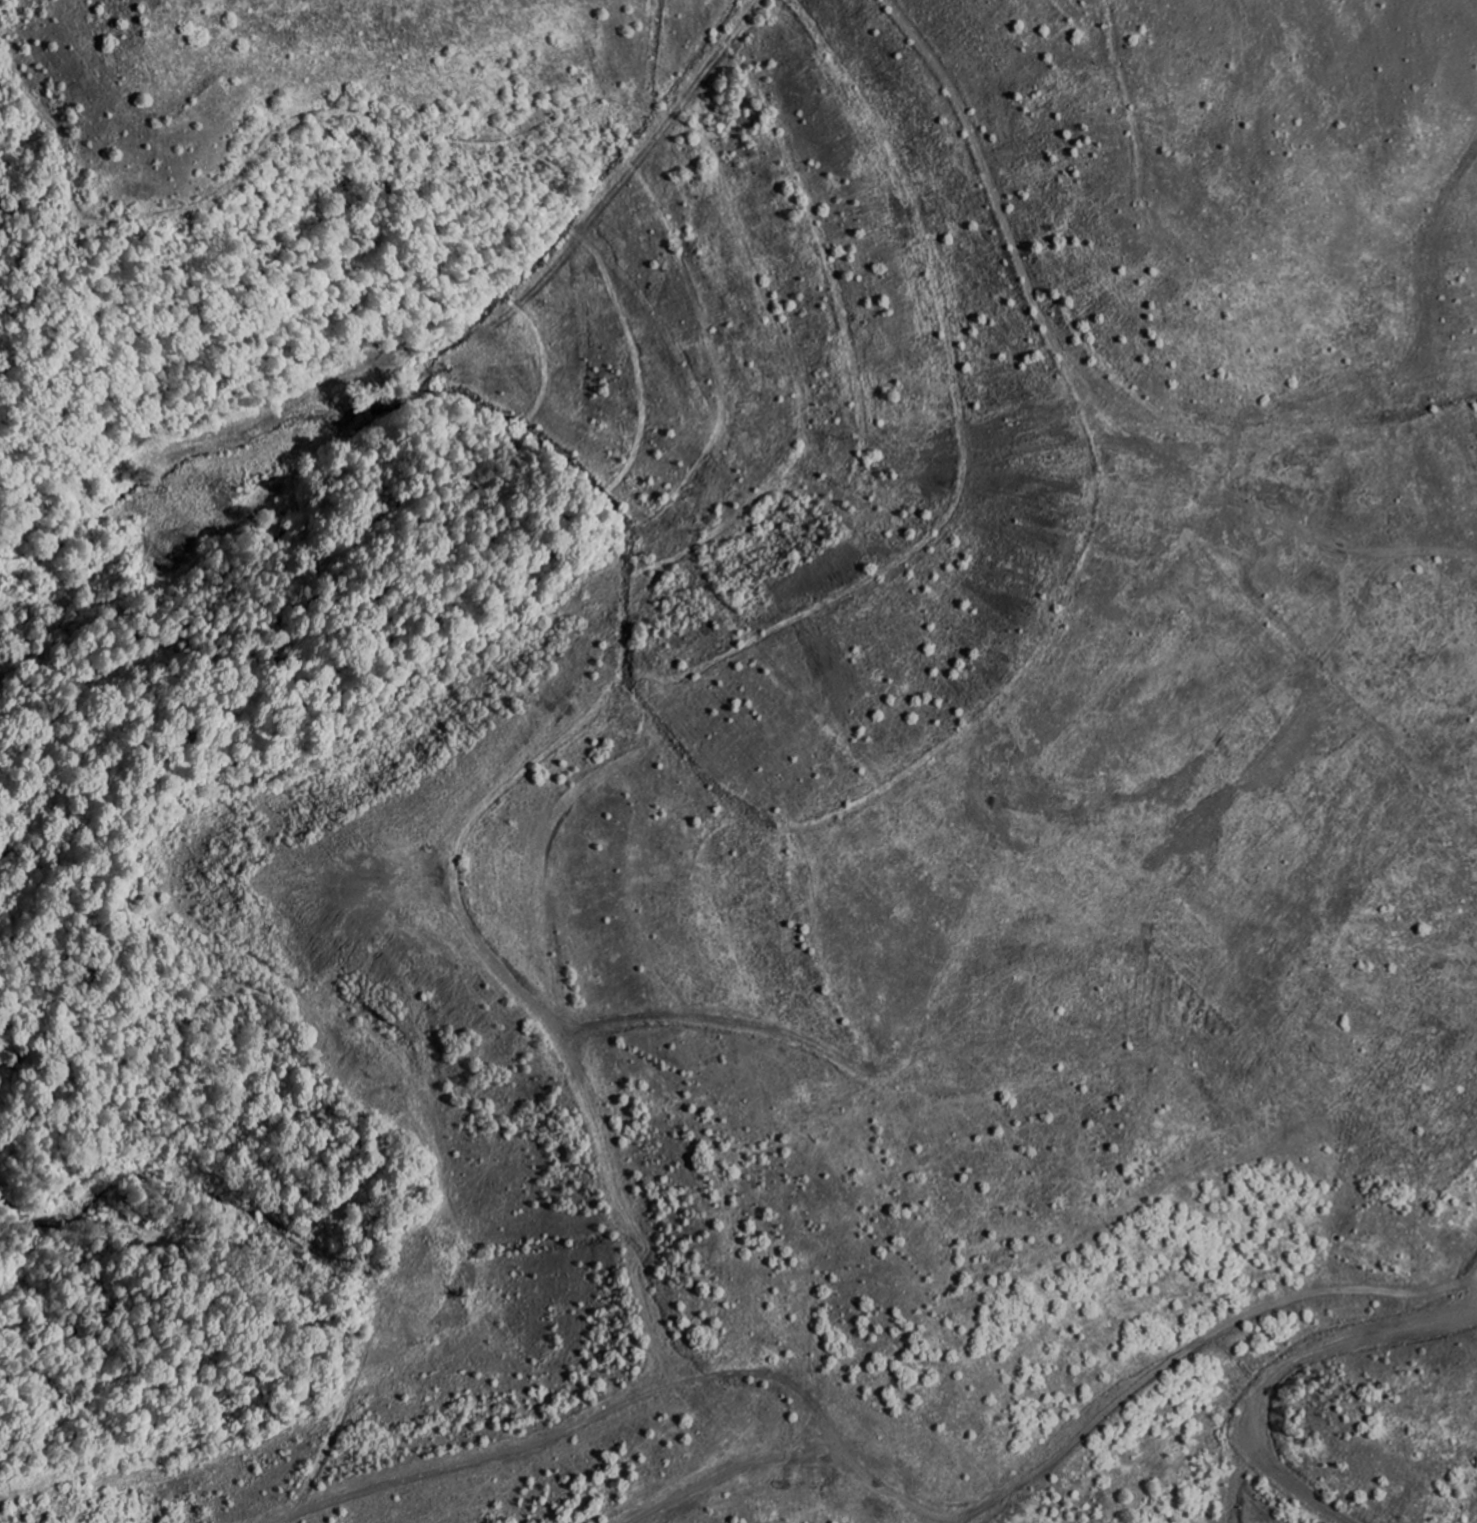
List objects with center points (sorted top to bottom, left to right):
quarry: (739, 761)

